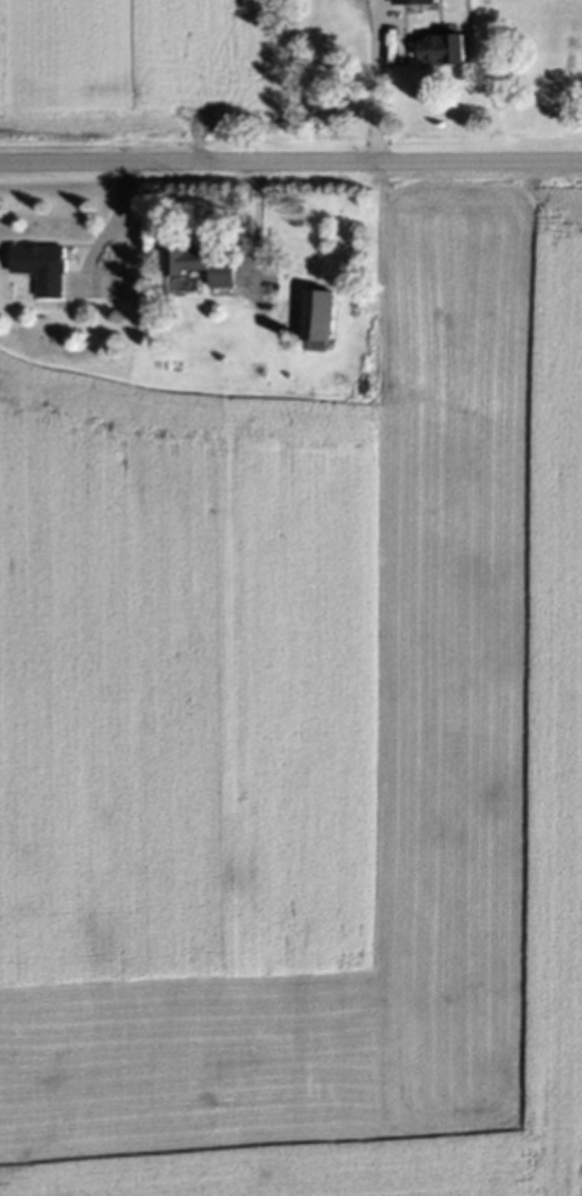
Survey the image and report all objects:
building: (411, 1)
building: (440, 50)
road: (291, 161)
building: (200, 266)
building: (40, 268)
building: (316, 317)

